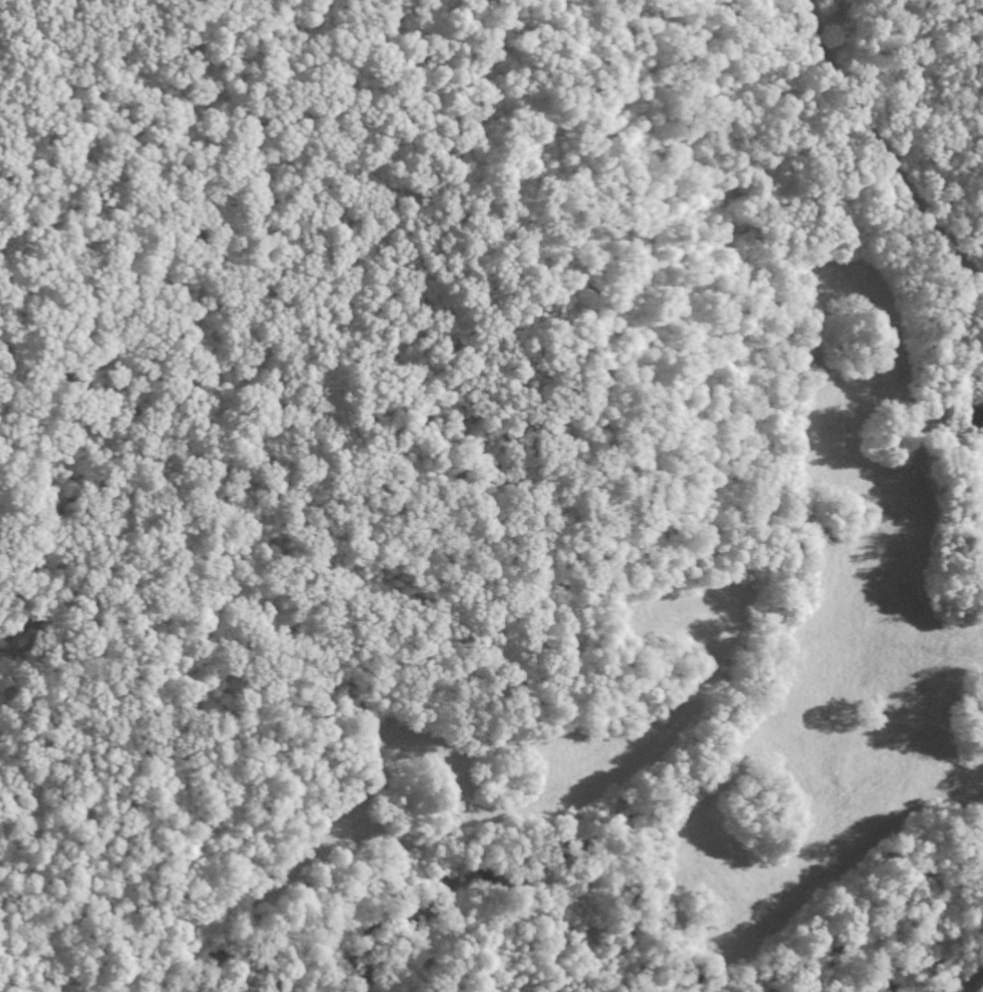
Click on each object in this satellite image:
road: (883, 149)
road: (971, 983)

